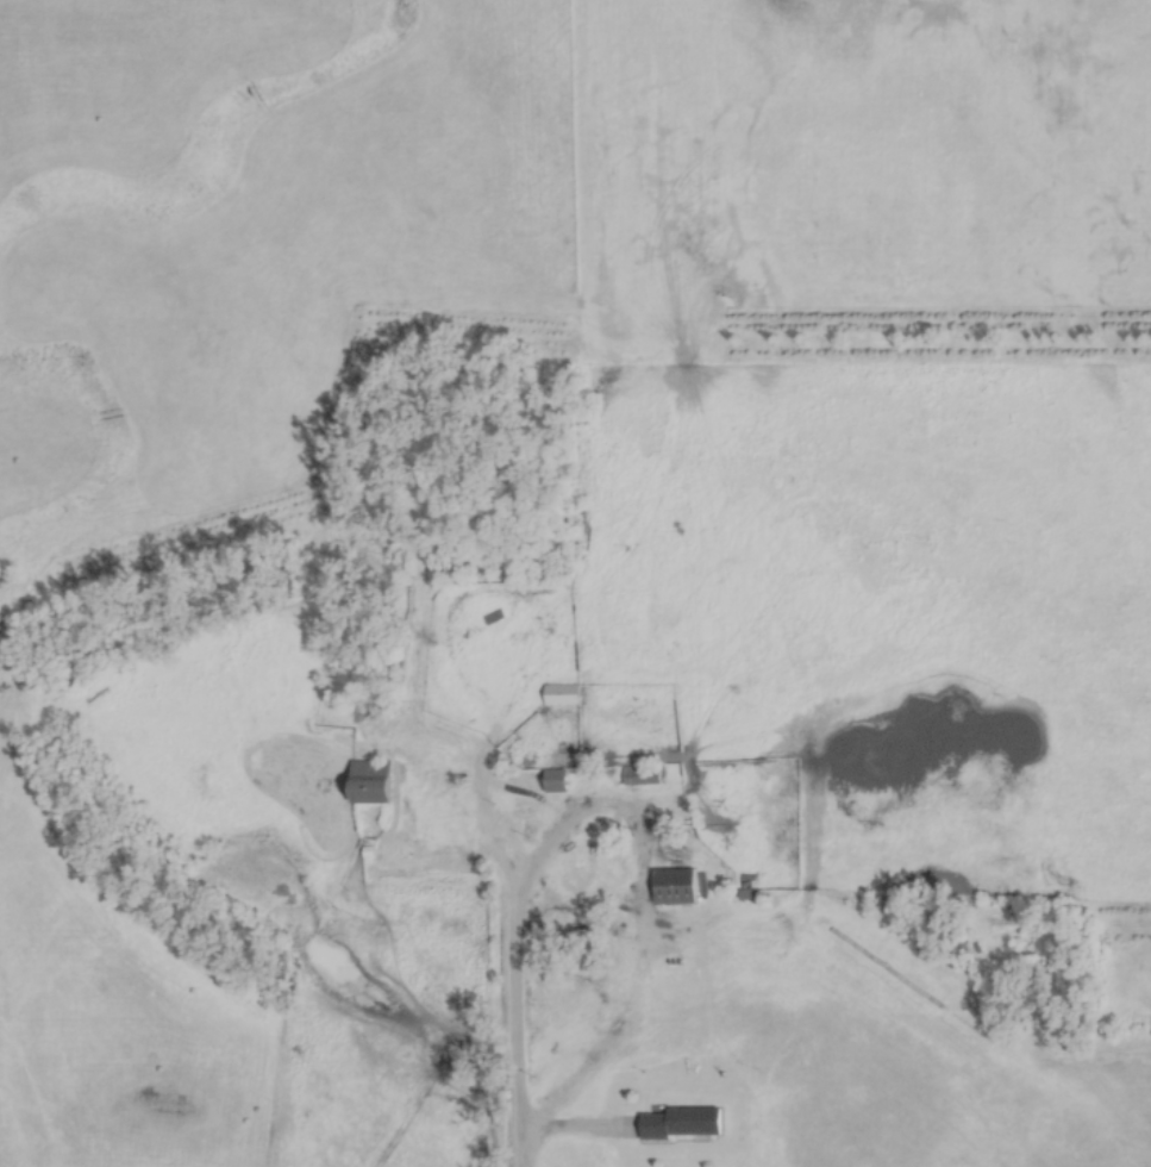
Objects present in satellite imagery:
building: (558, 694)
building: (639, 776)
building: (552, 781)
building: (367, 782)
building: (575, 862)
building: (671, 887)
road: (518, 1011)
building: (677, 1123)

